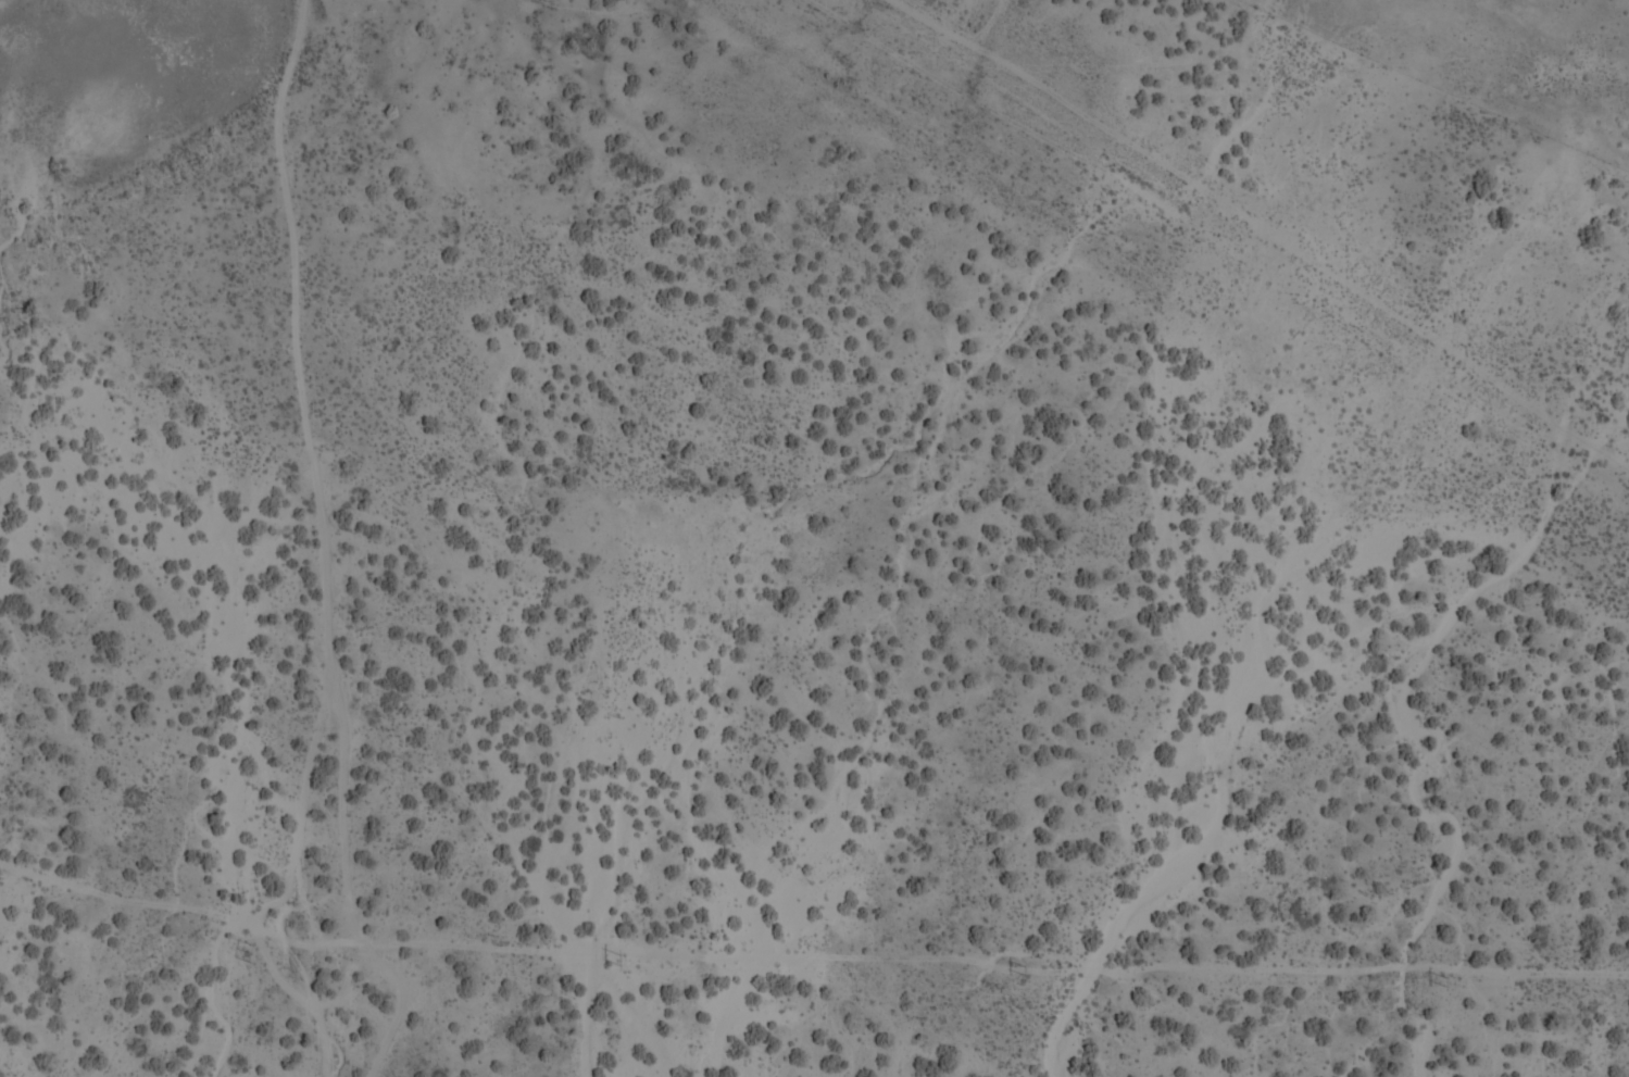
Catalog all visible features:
road: (325, 544)
power tower: (252, 950)
power tower: (619, 960)
power tower: (1024, 970)
power tower: (1445, 981)

